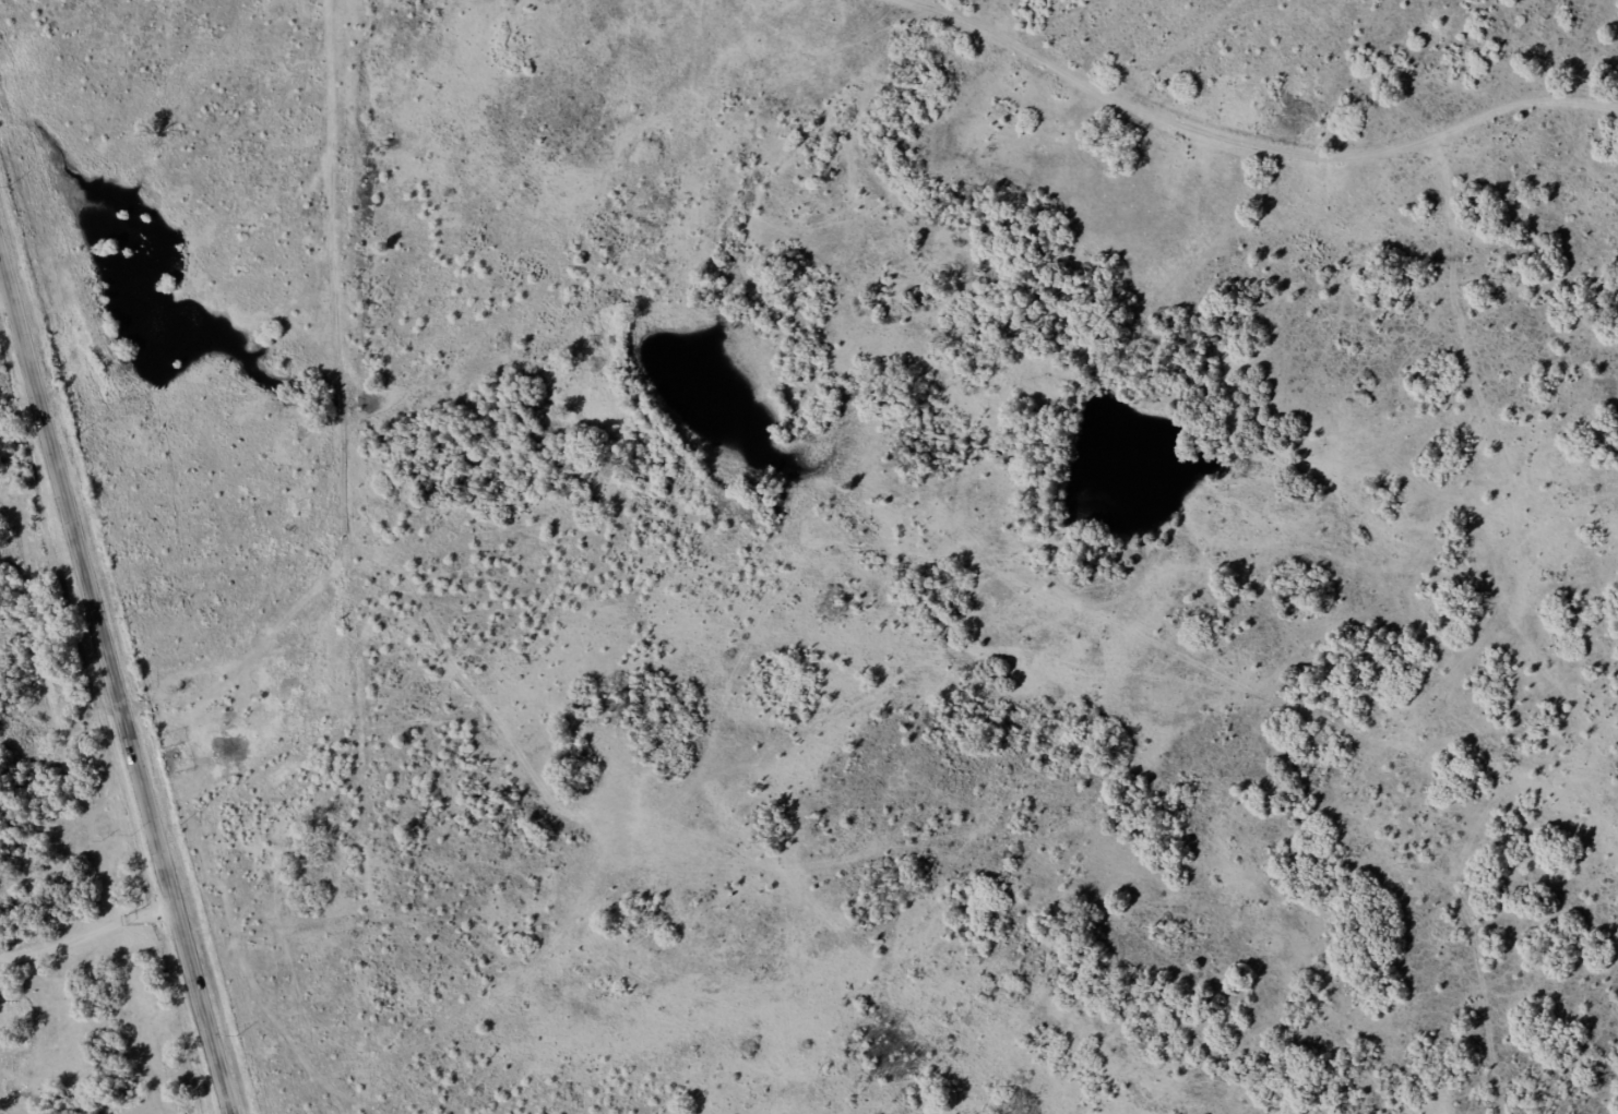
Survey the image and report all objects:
road: (1205, 151)
building: (299, 507)
building: (308, 651)
road: (123, 654)
building: (288, 690)

